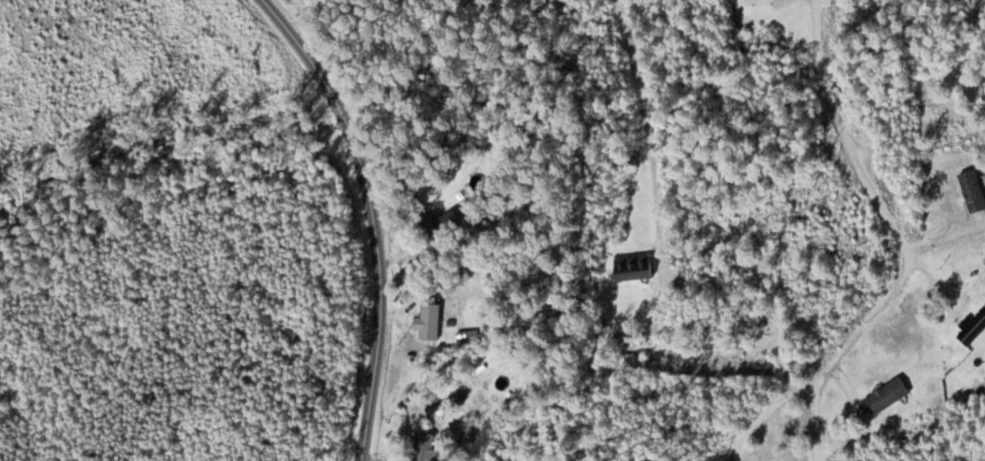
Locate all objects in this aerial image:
building: (975, 189)
road: (371, 216)
building: (438, 228)
road: (662, 255)
road: (906, 256)
building: (636, 266)
building: (457, 277)
building: (431, 318)
building: (974, 328)
building: (888, 395)
road: (816, 422)
building: (427, 448)

